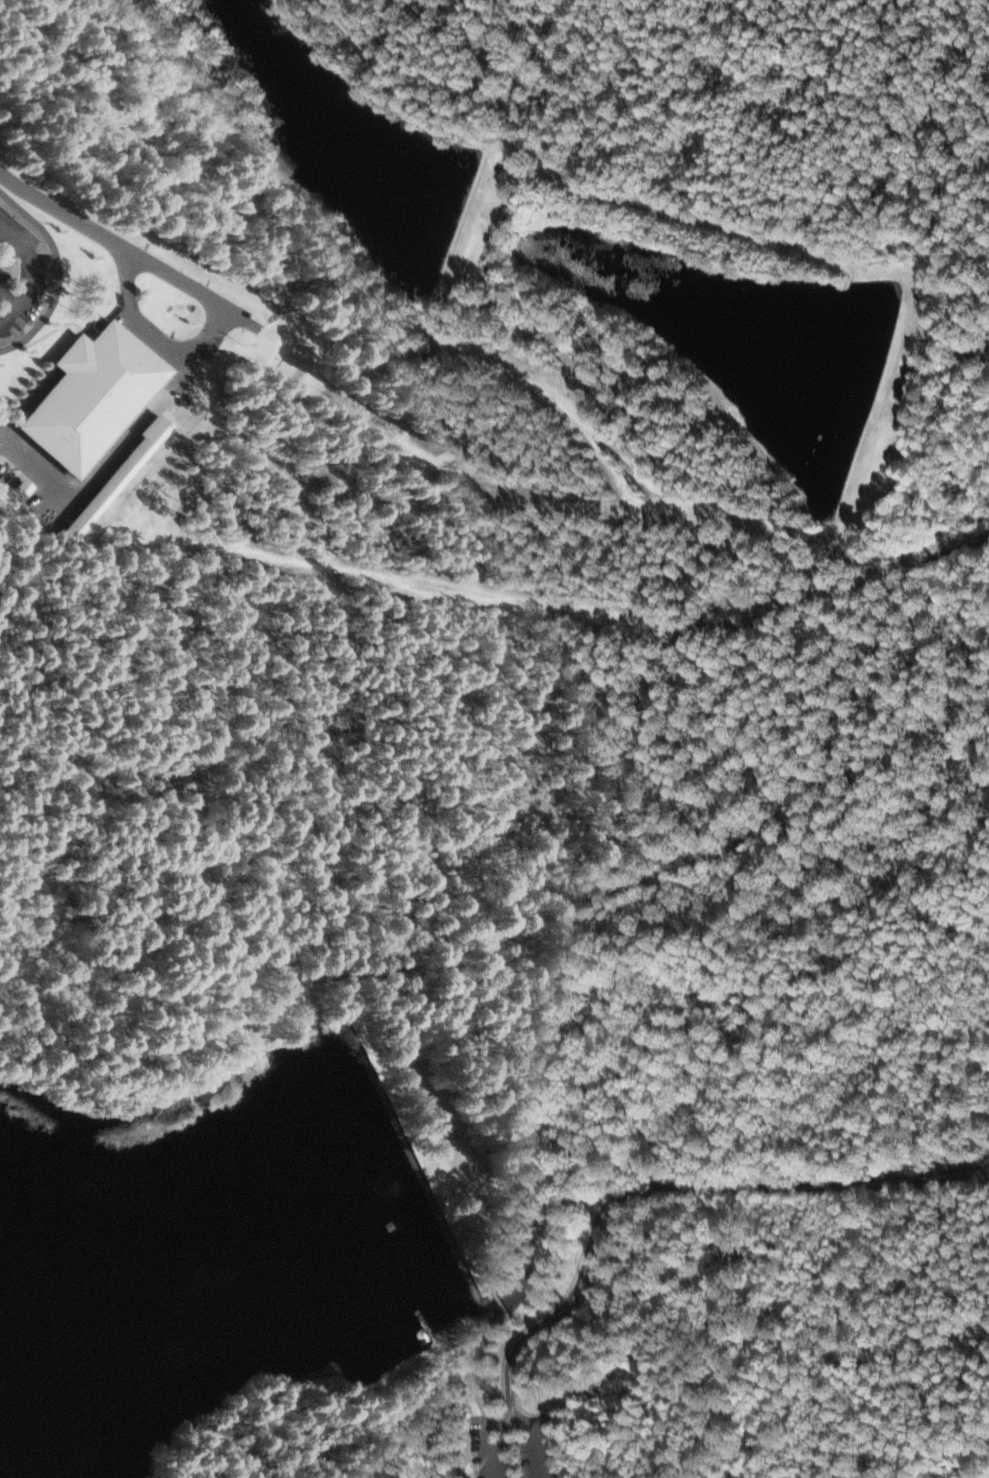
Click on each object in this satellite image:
road: (64, 204)
road: (201, 338)
building: (93, 395)
building: (116, 478)
road: (330, 987)
dam: (326, 1031)
dam: (385, 1165)
road: (670, 1184)
park: (487, 1223)
dam: (441, 1294)
dam: (444, 1300)
road: (504, 1307)
road: (484, 1345)
road: (364, 1438)

